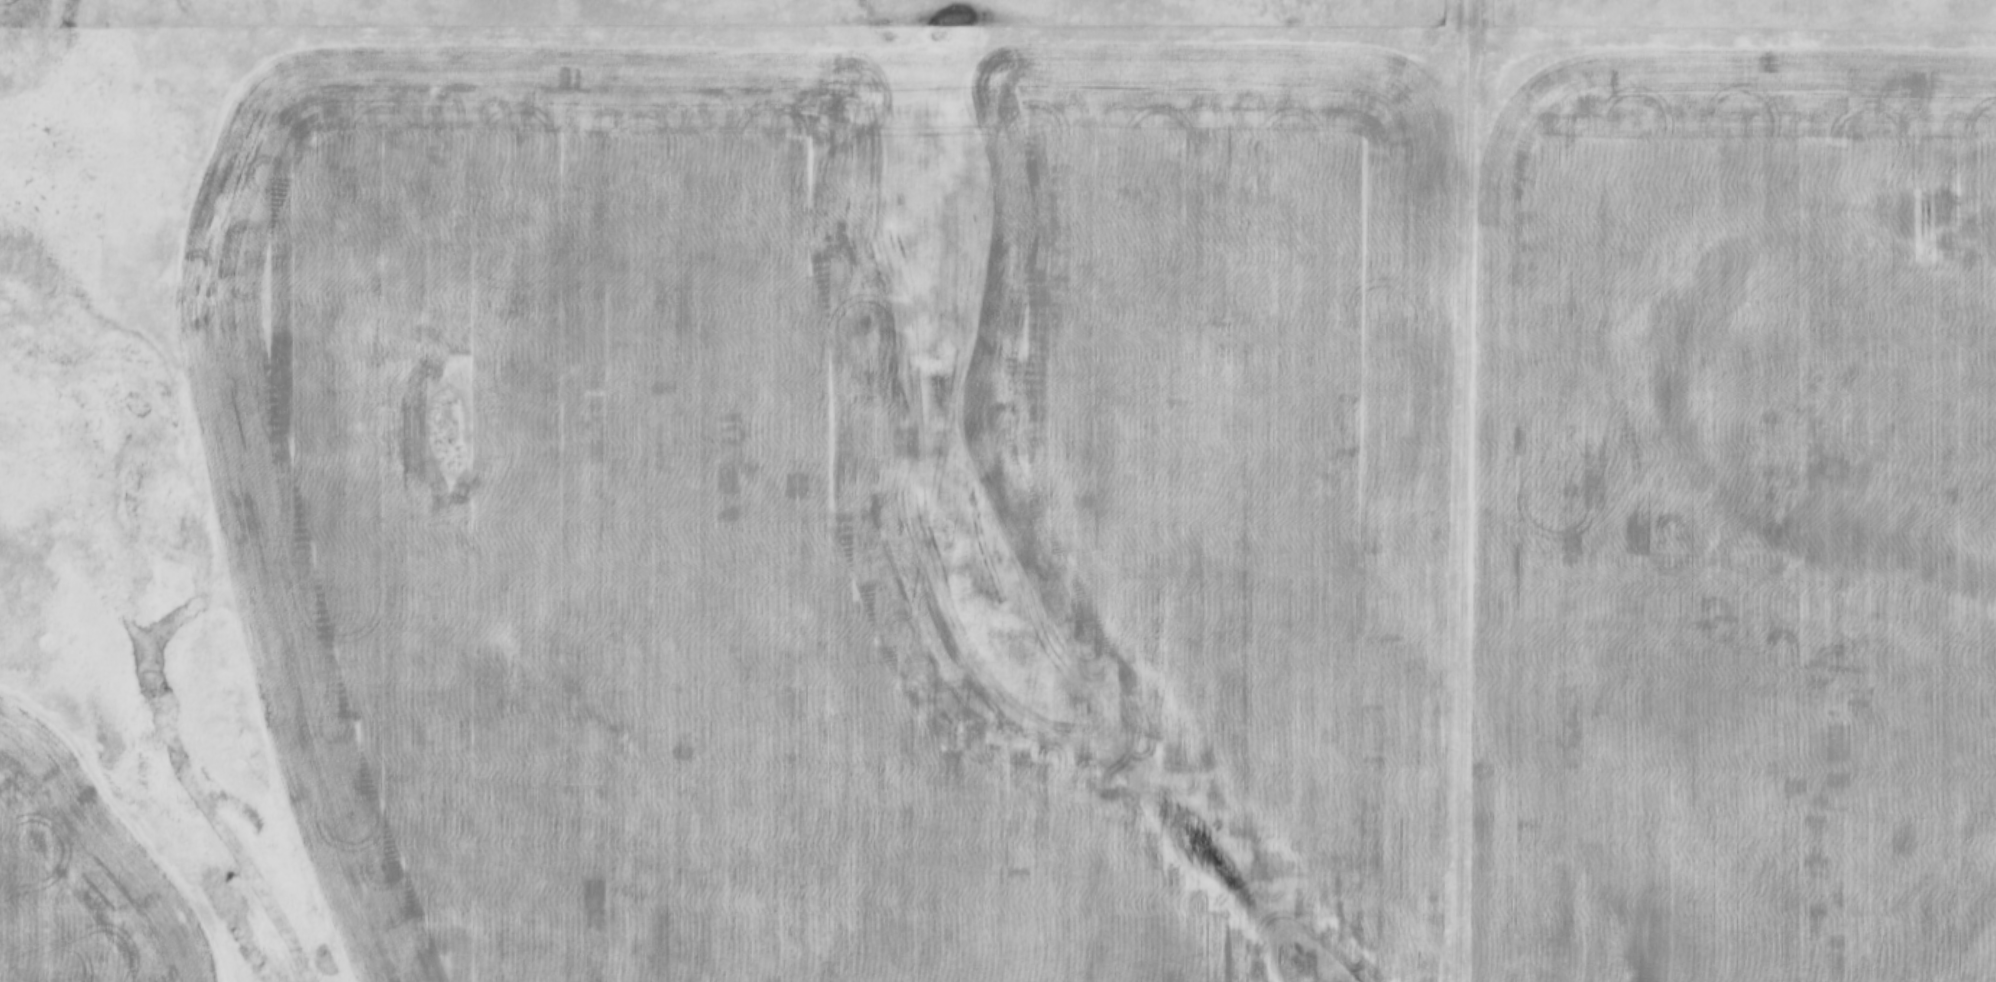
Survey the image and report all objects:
road: (1479, 14)

